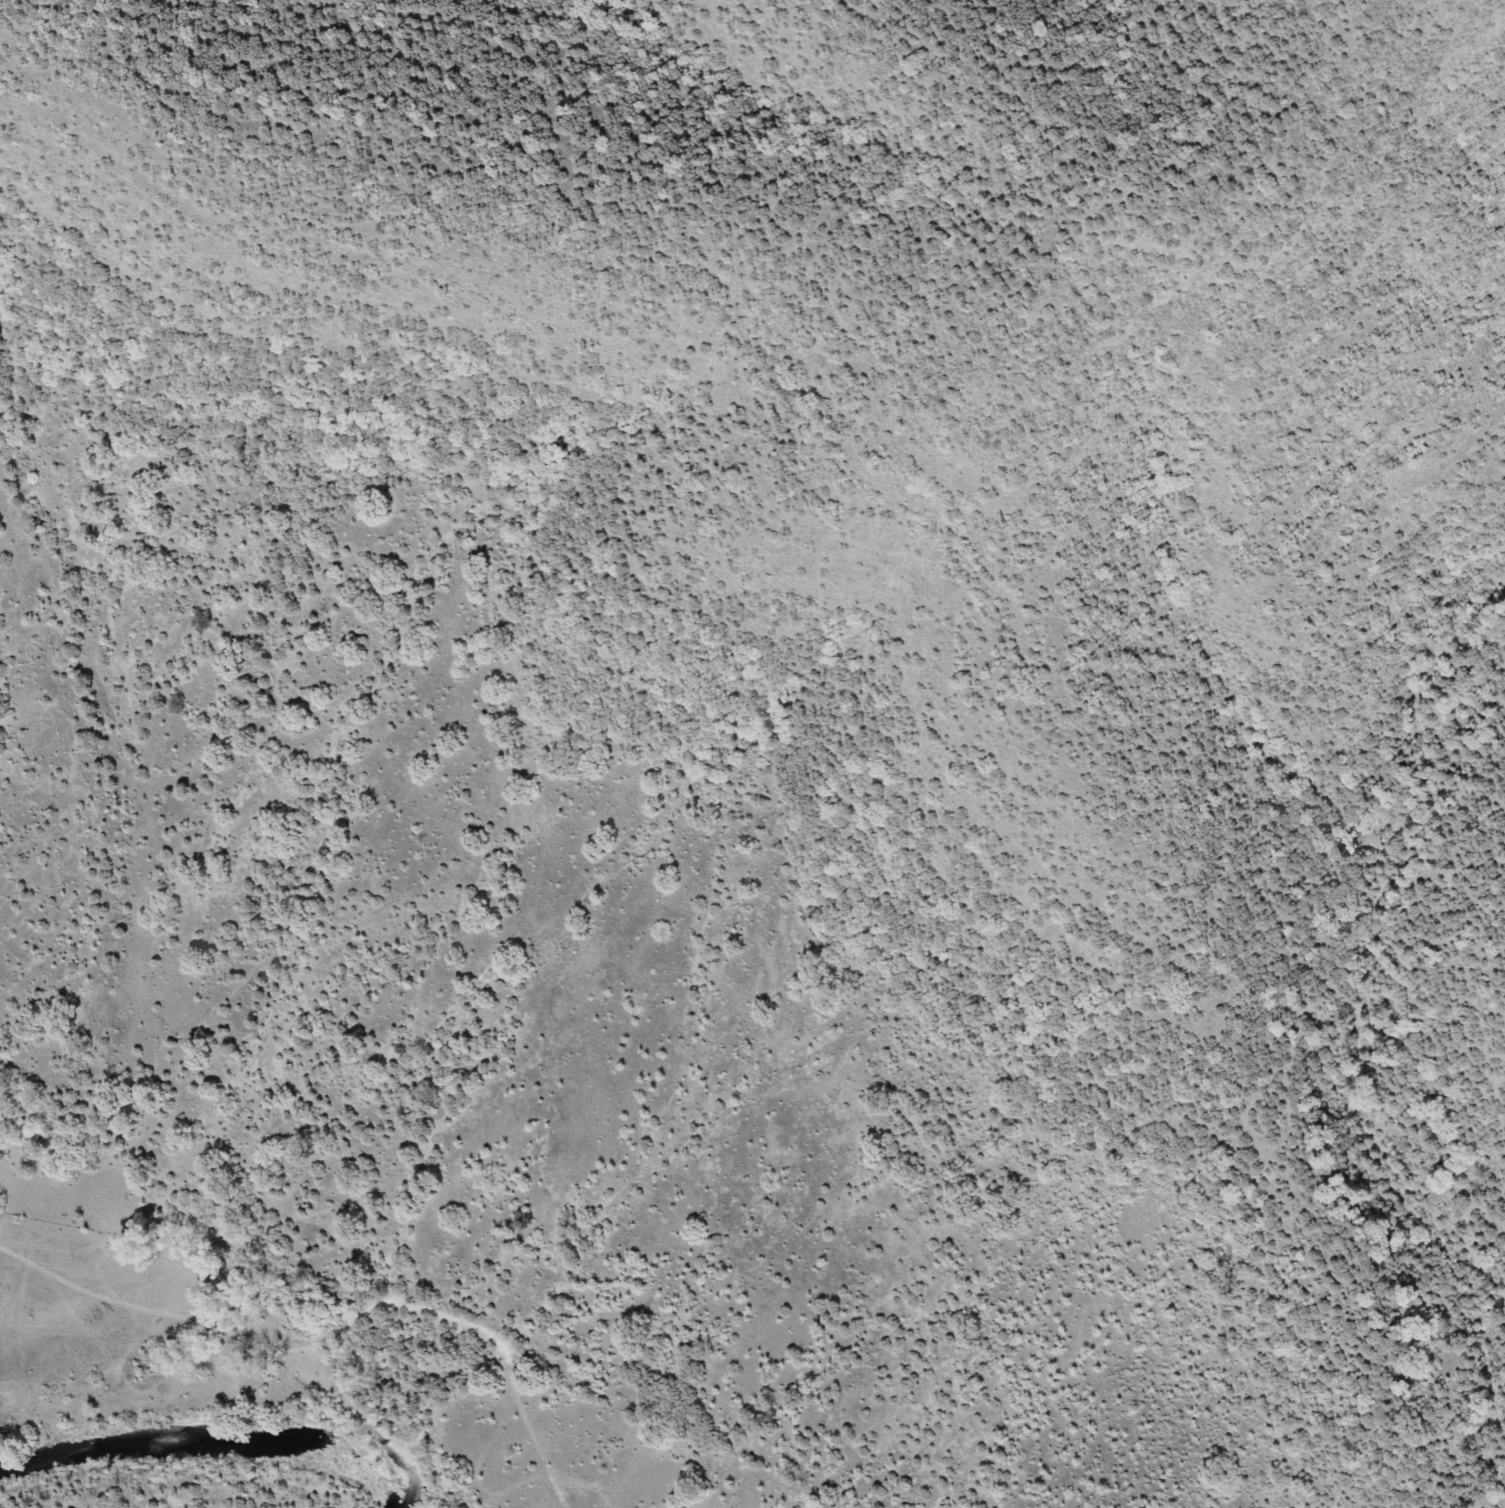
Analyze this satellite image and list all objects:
road: (331, 1336)
river: (230, 1432)

